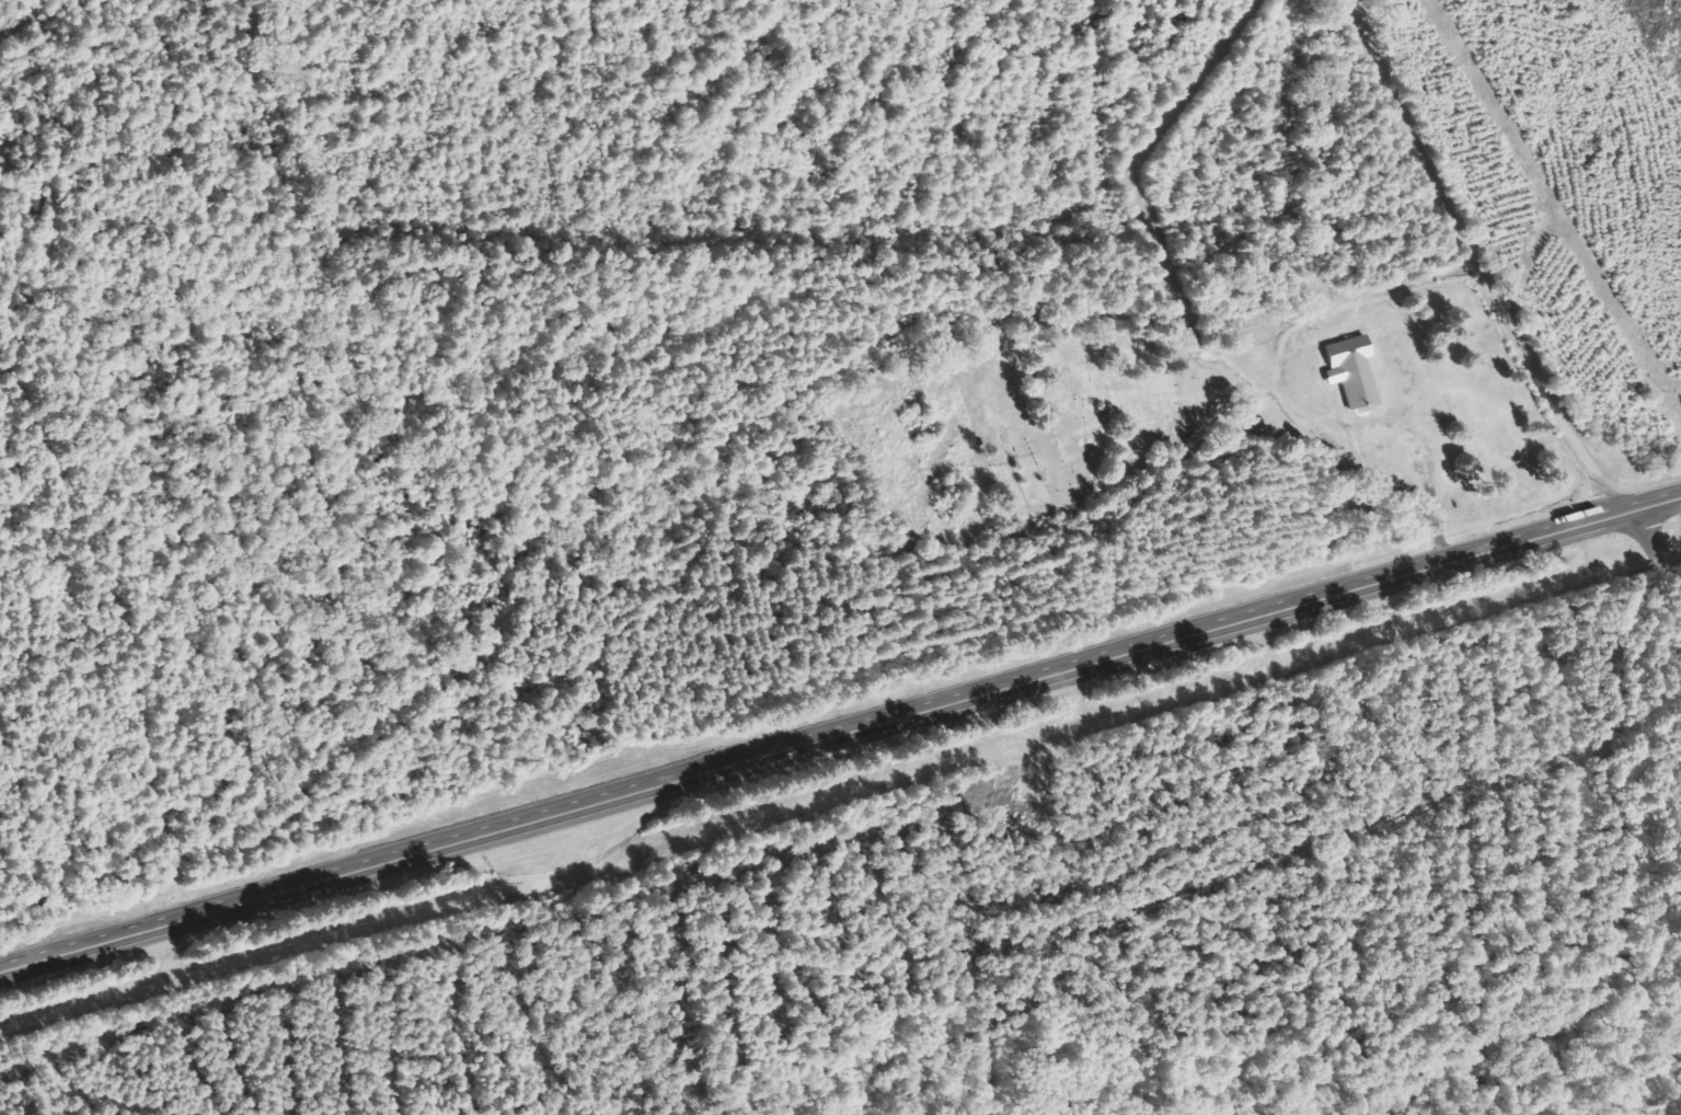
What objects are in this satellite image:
road: (1375, 10)
road: (1470, 279)
building: (1355, 371)
park: (1081, 423)
road: (1651, 571)
road: (840, 731)

